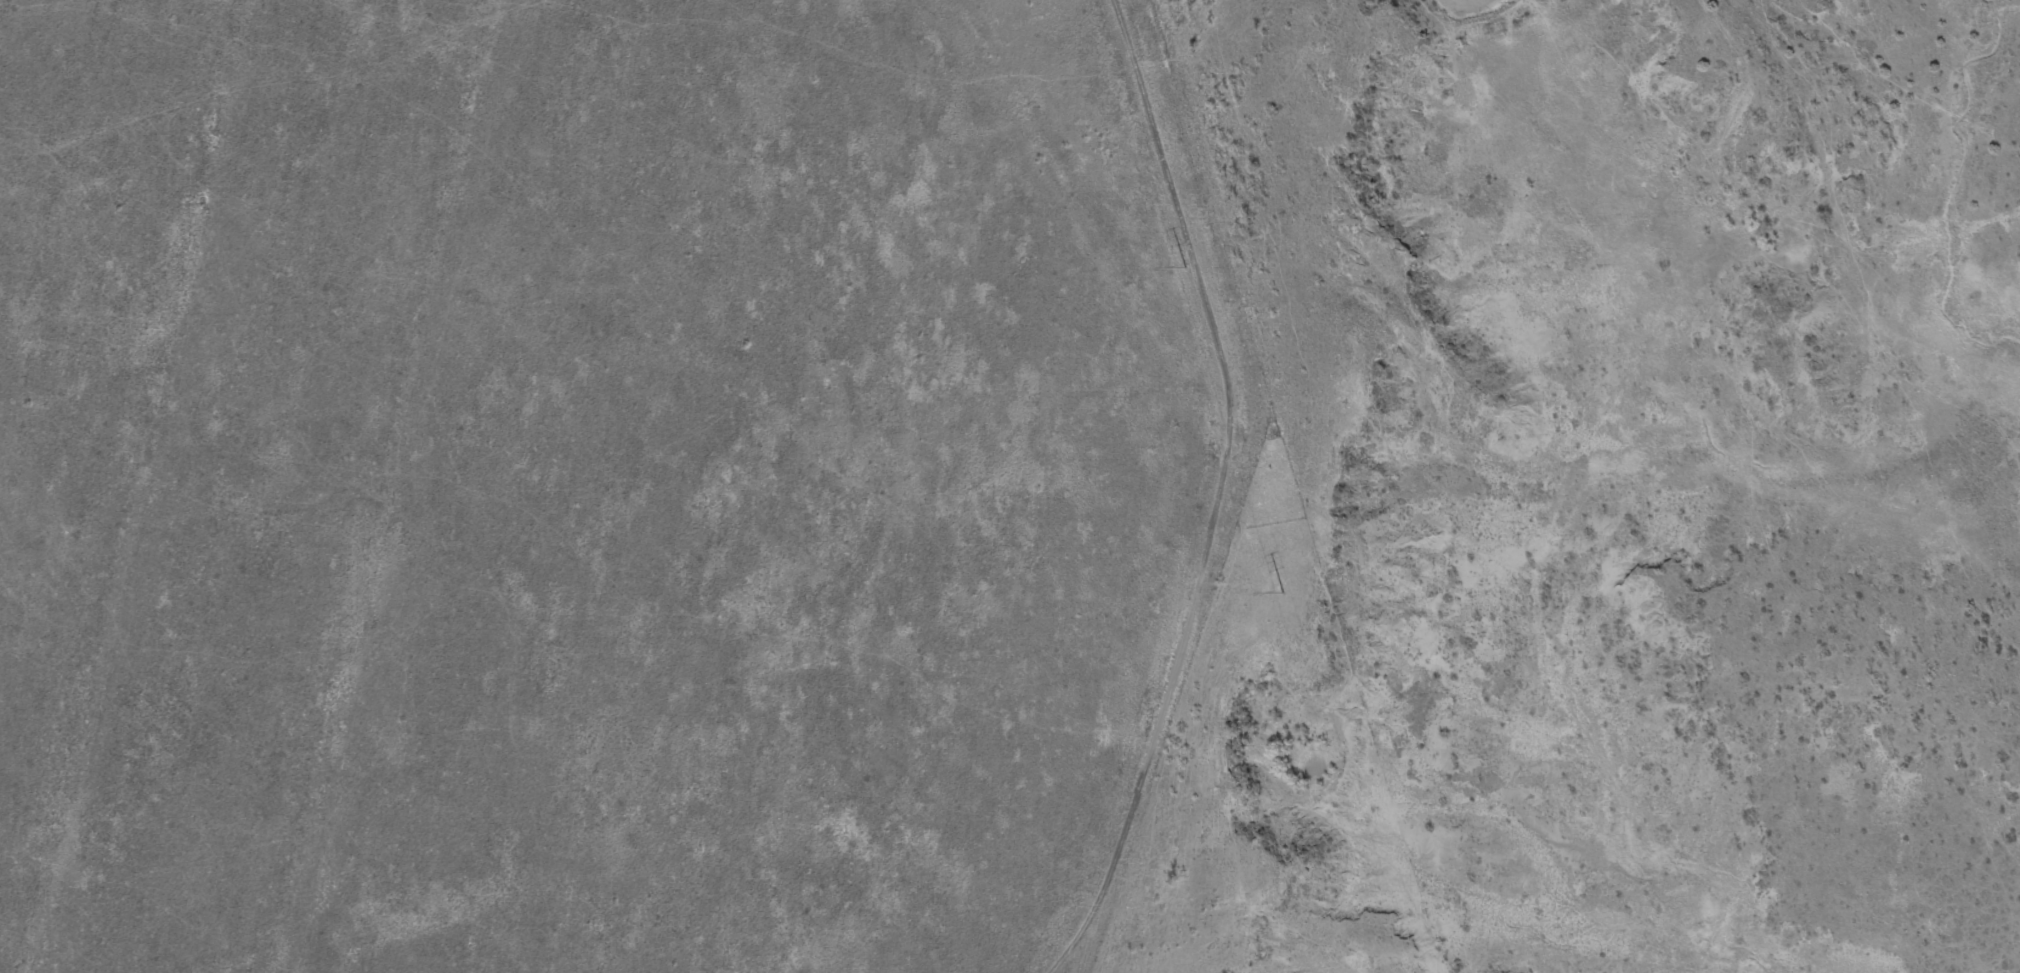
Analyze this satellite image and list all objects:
power tower: (1186, 265)
power tower: (1283, 591)

